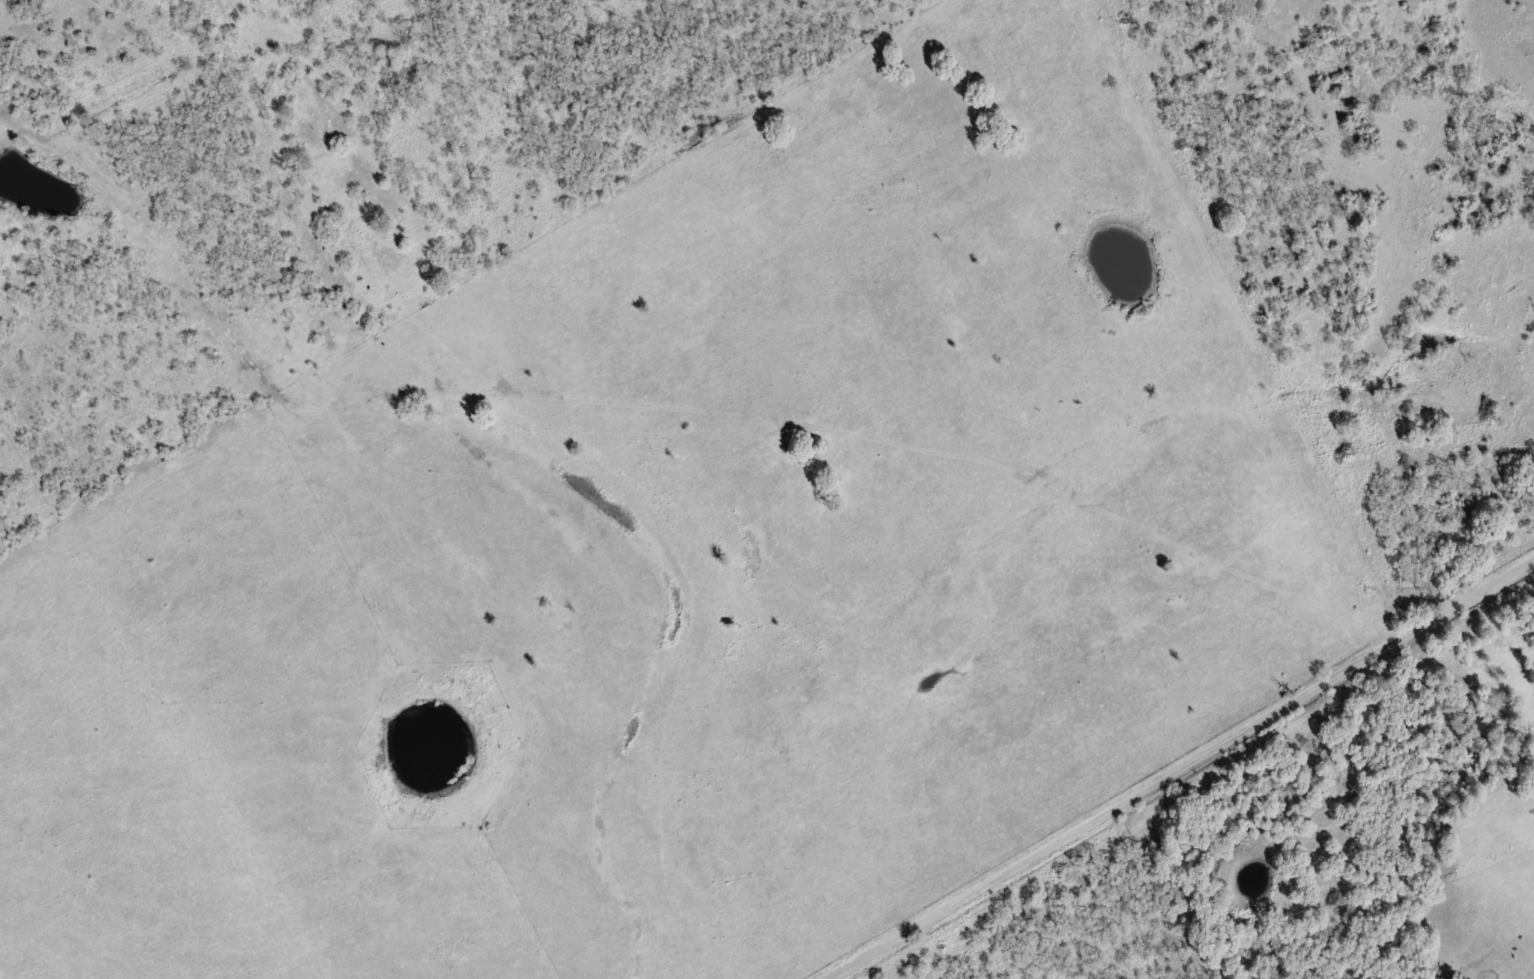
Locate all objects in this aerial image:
road: (1173, 765)

